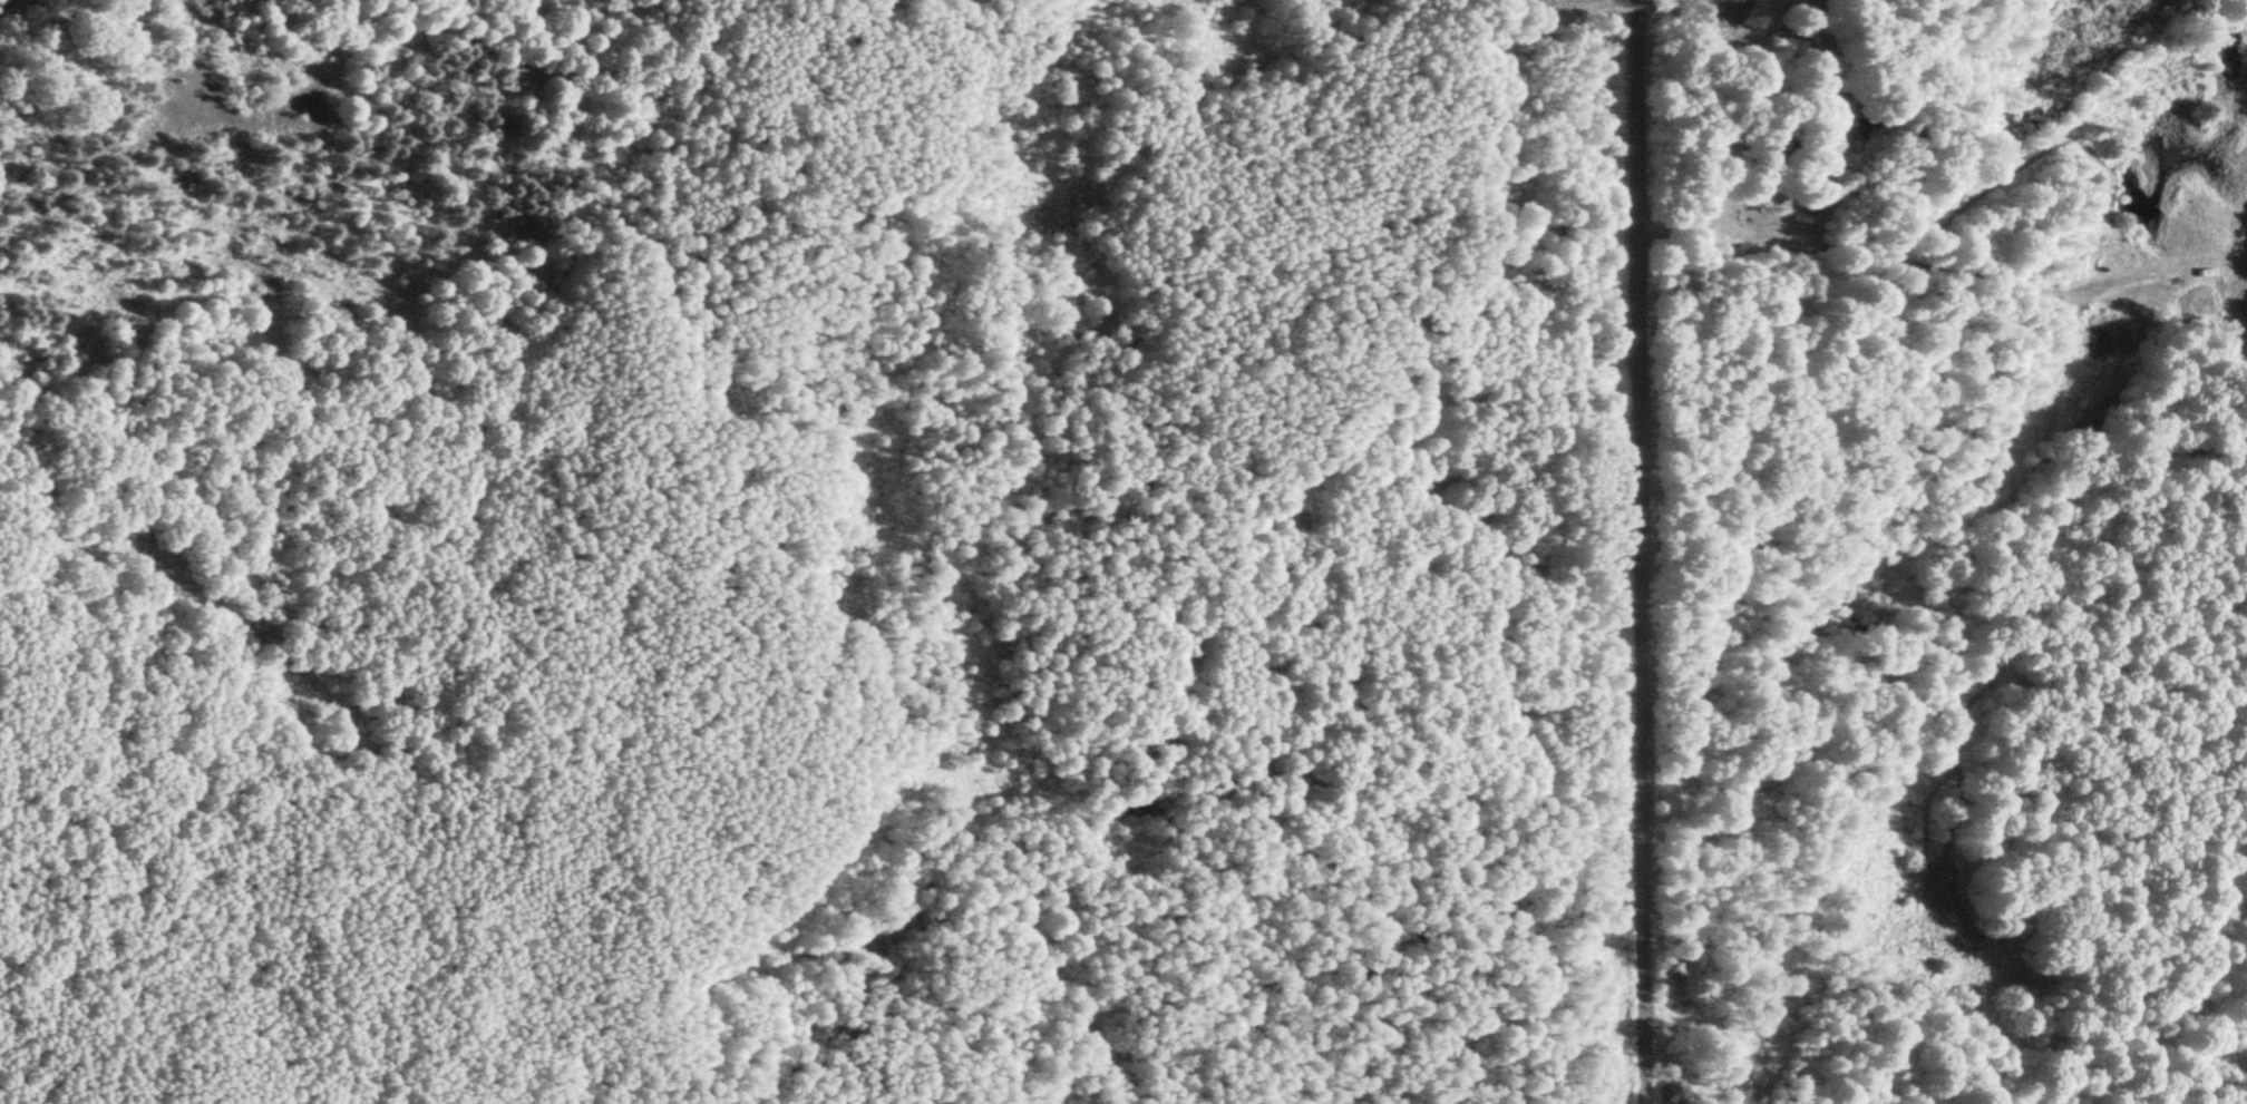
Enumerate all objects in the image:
road: (6, 6)
building: (1844, 66)
building: (1737, 144)
building: (1778, 148)
road: (1701, 219)
road: (1645, 551)

